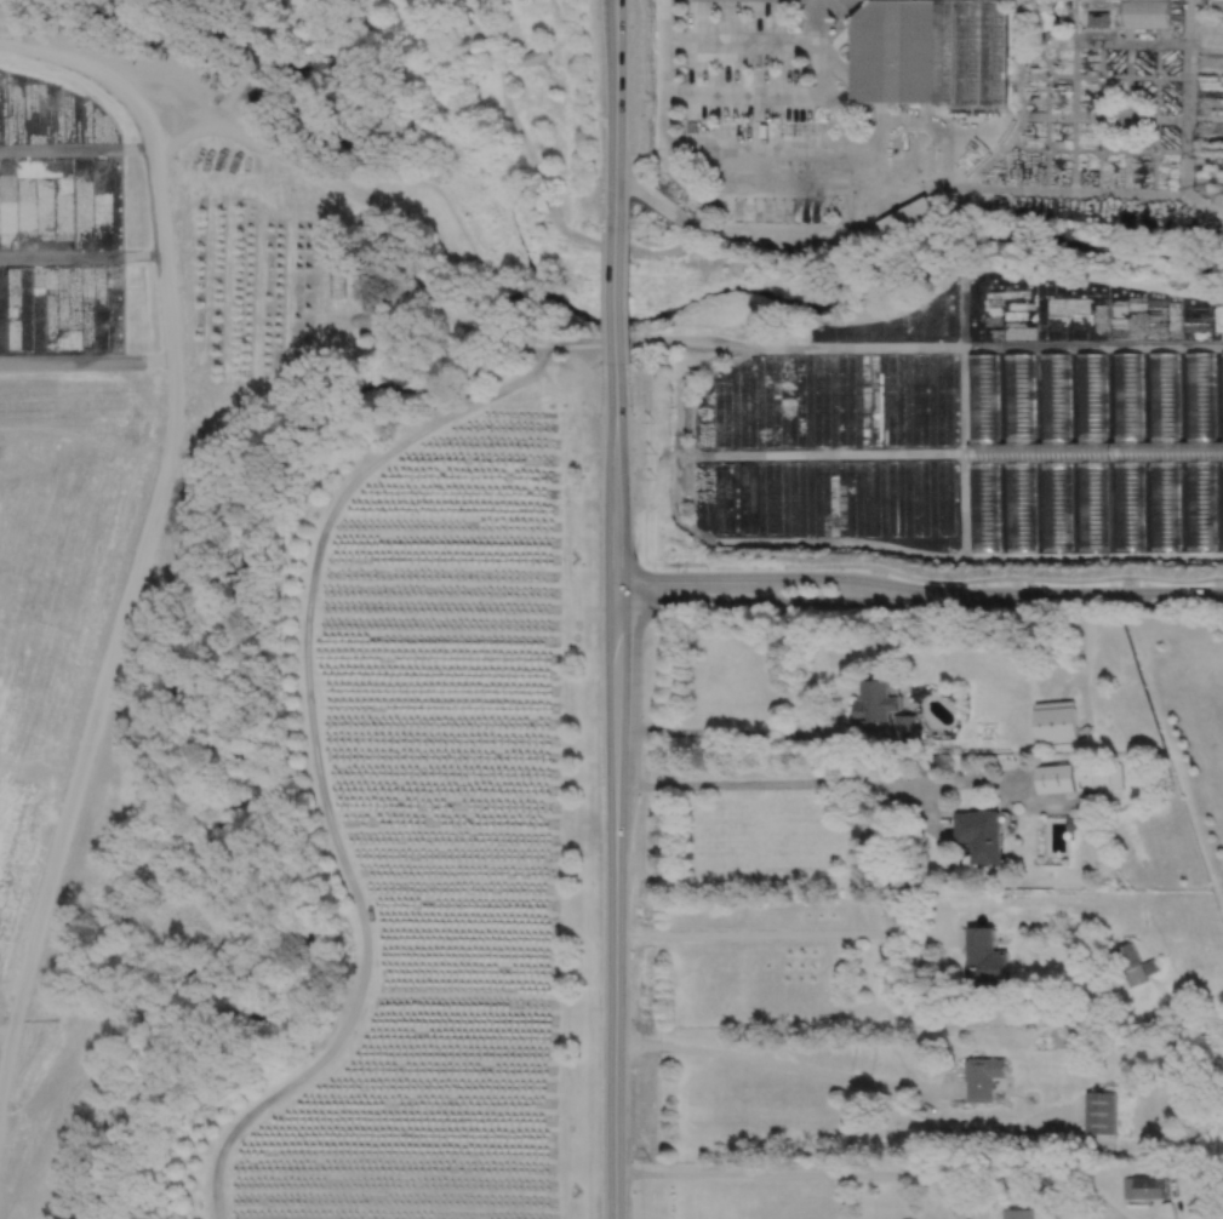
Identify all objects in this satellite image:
building: (1147, 13)
building: (1098, 18)
road: (742, 41)
building: (970, 51)
building: (893, 52)
parking lot: (742, 64)
road: (99, 75)
road: (749, 93)
road: (615, 113)
road: (182, 132)
road: (704, 148)
road: (739, 165)
road: (865, 174)
road: (741, 218)
building: (908, 218)
road: (392, 219)
road: (747, 235)
road: (164, 297)
road: (616, 298)
road: (1004, 345)
road: (85, 416)
building: (1164, 503)
building: (1200, 503)
building: (1222, 503)
building: (983, 504)
building: (1019, 504)
building: (1056, 504)
building: (1091, 504)
building: (1127, 504)
road: (784, 577)
road: (941, 579)
road: (1087, 595)
road: (783, 601)
road: (307, 640)
road: (1085, 662)
road: (1068, 682)
building: (875, 699)
road: (836, 720)
building: (1055, 720)
building: (904, 728)
road: (725, 731)
road: (863, 732)
road: (80, 759)
building: (1092, 774)
building: (1115, 774)
building: (1056, 778)
road: (766, 783)
road: (1007, 783)
road: (616, 794)
road: (924, 811)
building: (1070, 823)
building: (978, 834)
road: (785, 934)
building: (981, 948)
building: (1132, 965)
road: (748, 1057)
building: (983, 1078)
road: (919, 1086)
building: (1102, 1114)
road: (962, 1129)
road: (772, 1173)
road: (1004, 1179)
building: (1128, 1186)
building: (1149, 1186)
road: (948, 1197)
building: (1167, 1209)
building: (1021, 1213)

